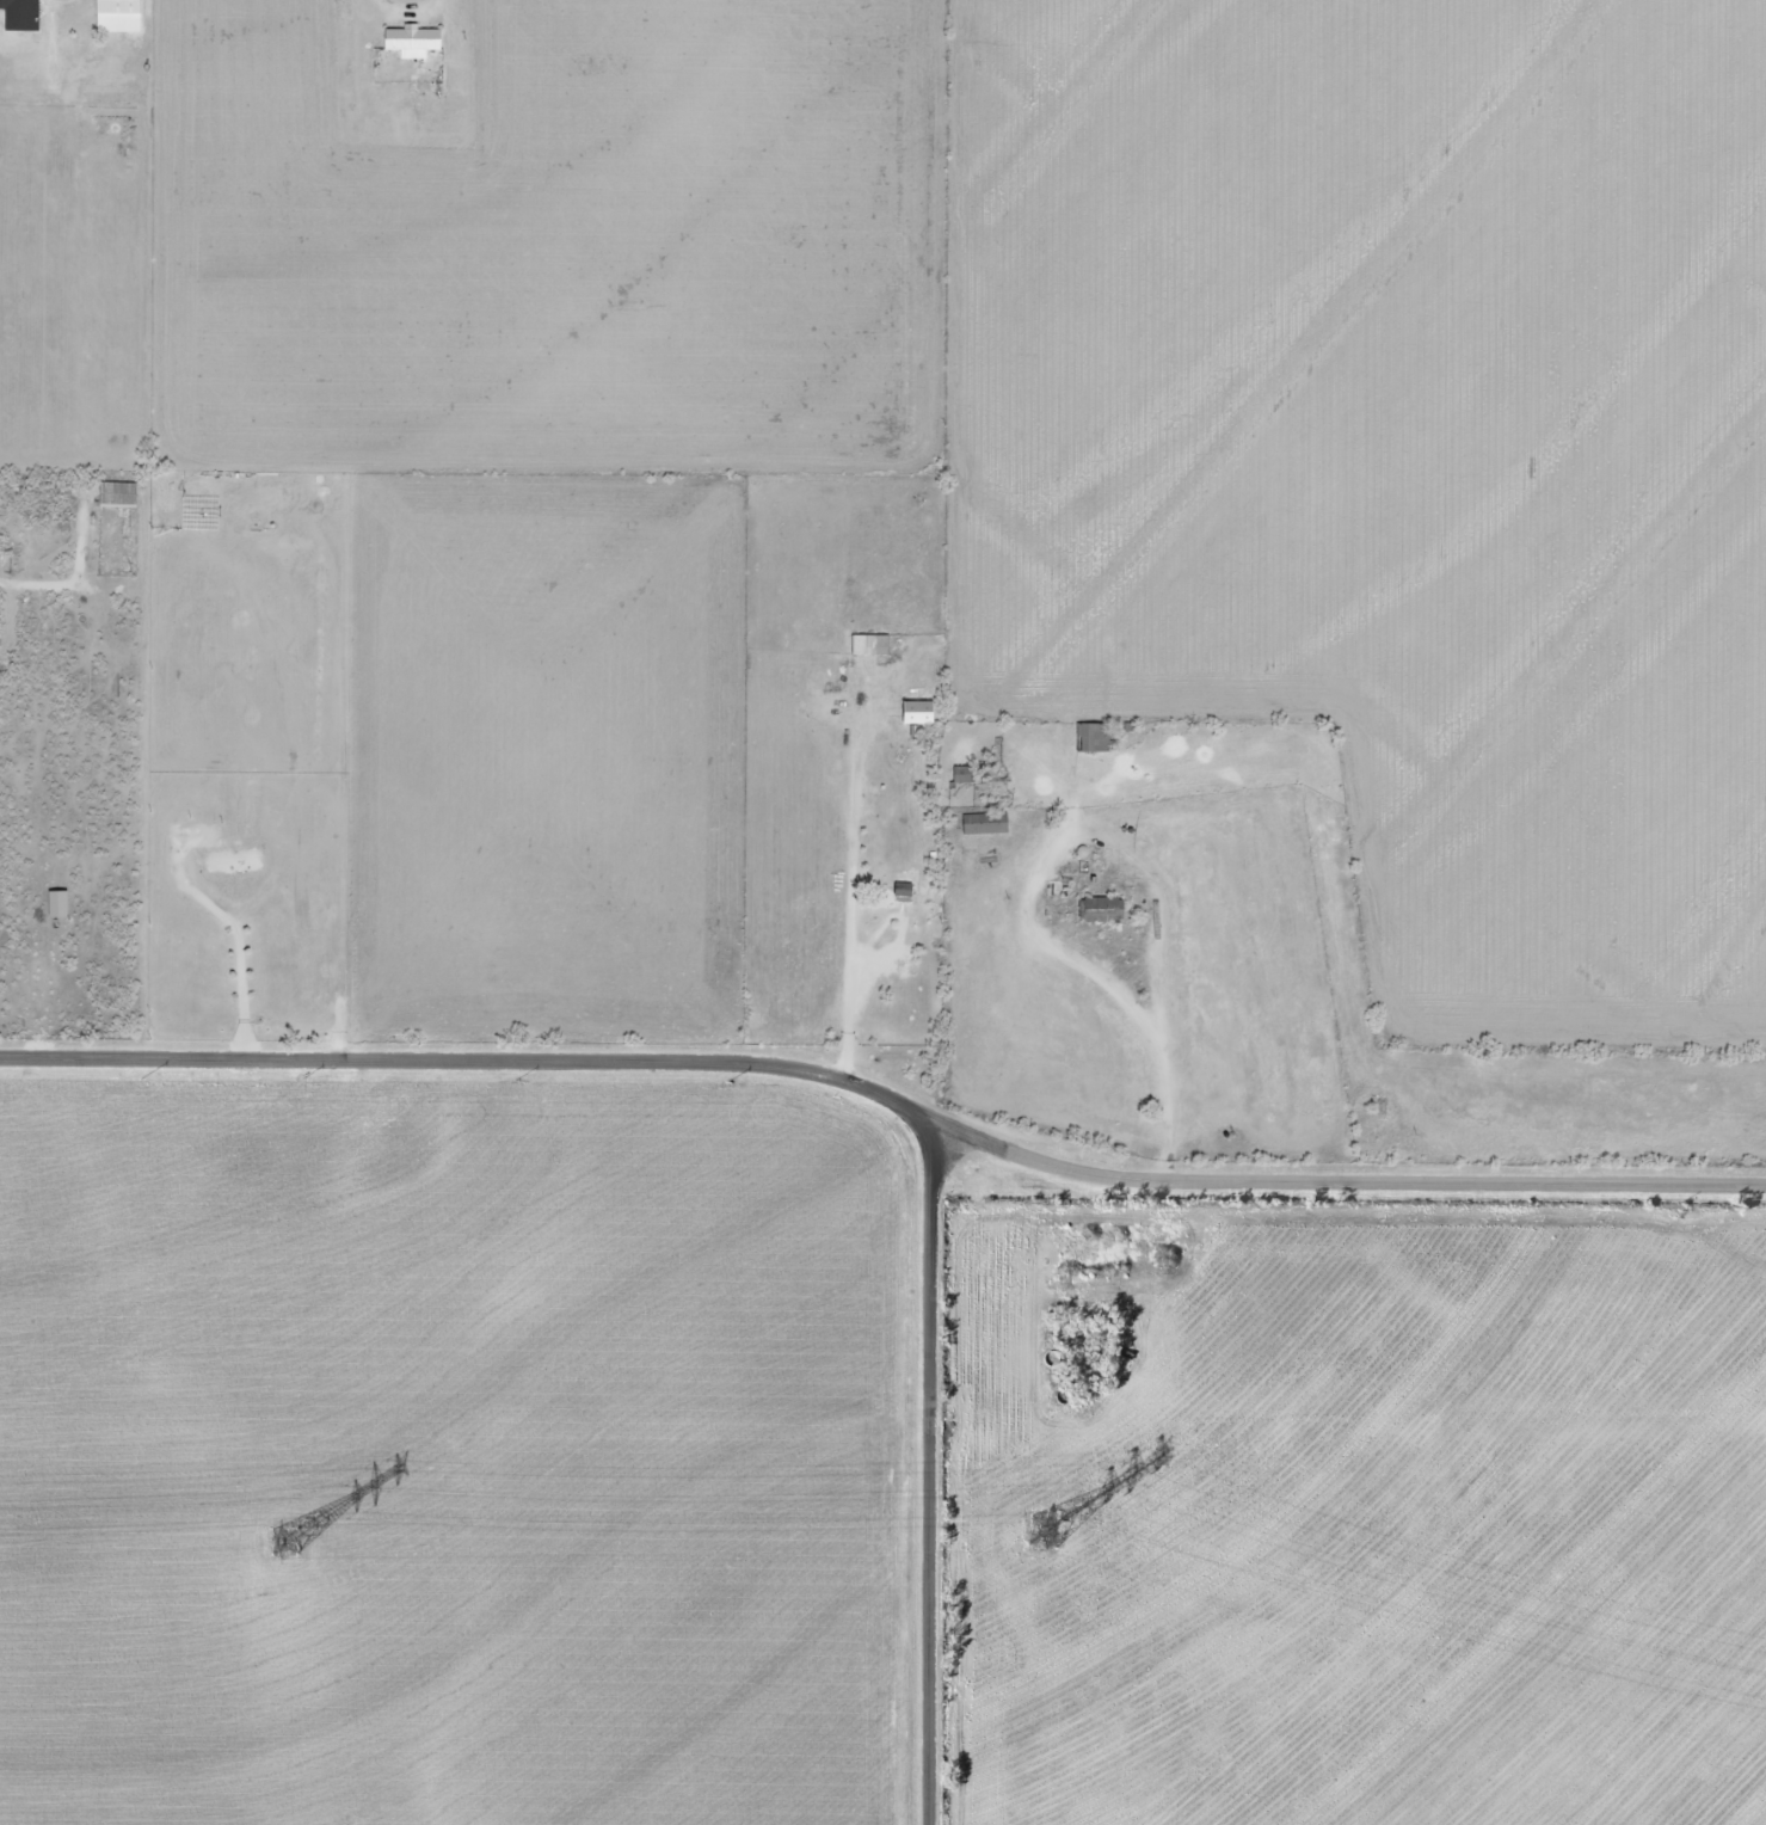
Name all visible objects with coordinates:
building: (19, 14)
building: (116, 16)
building: (410, 39)
building: (116, 494)
building: (869, 645)
building: (916, 712)
building: (1091, 737)
building: (961, 774)
building: (983, 824)
building: (56, 904)
building: (1101, 909)
road: (887, 1083)
road: (881, 1452)
power tower: (1042, 1531)
power tower: (279, 1542)

